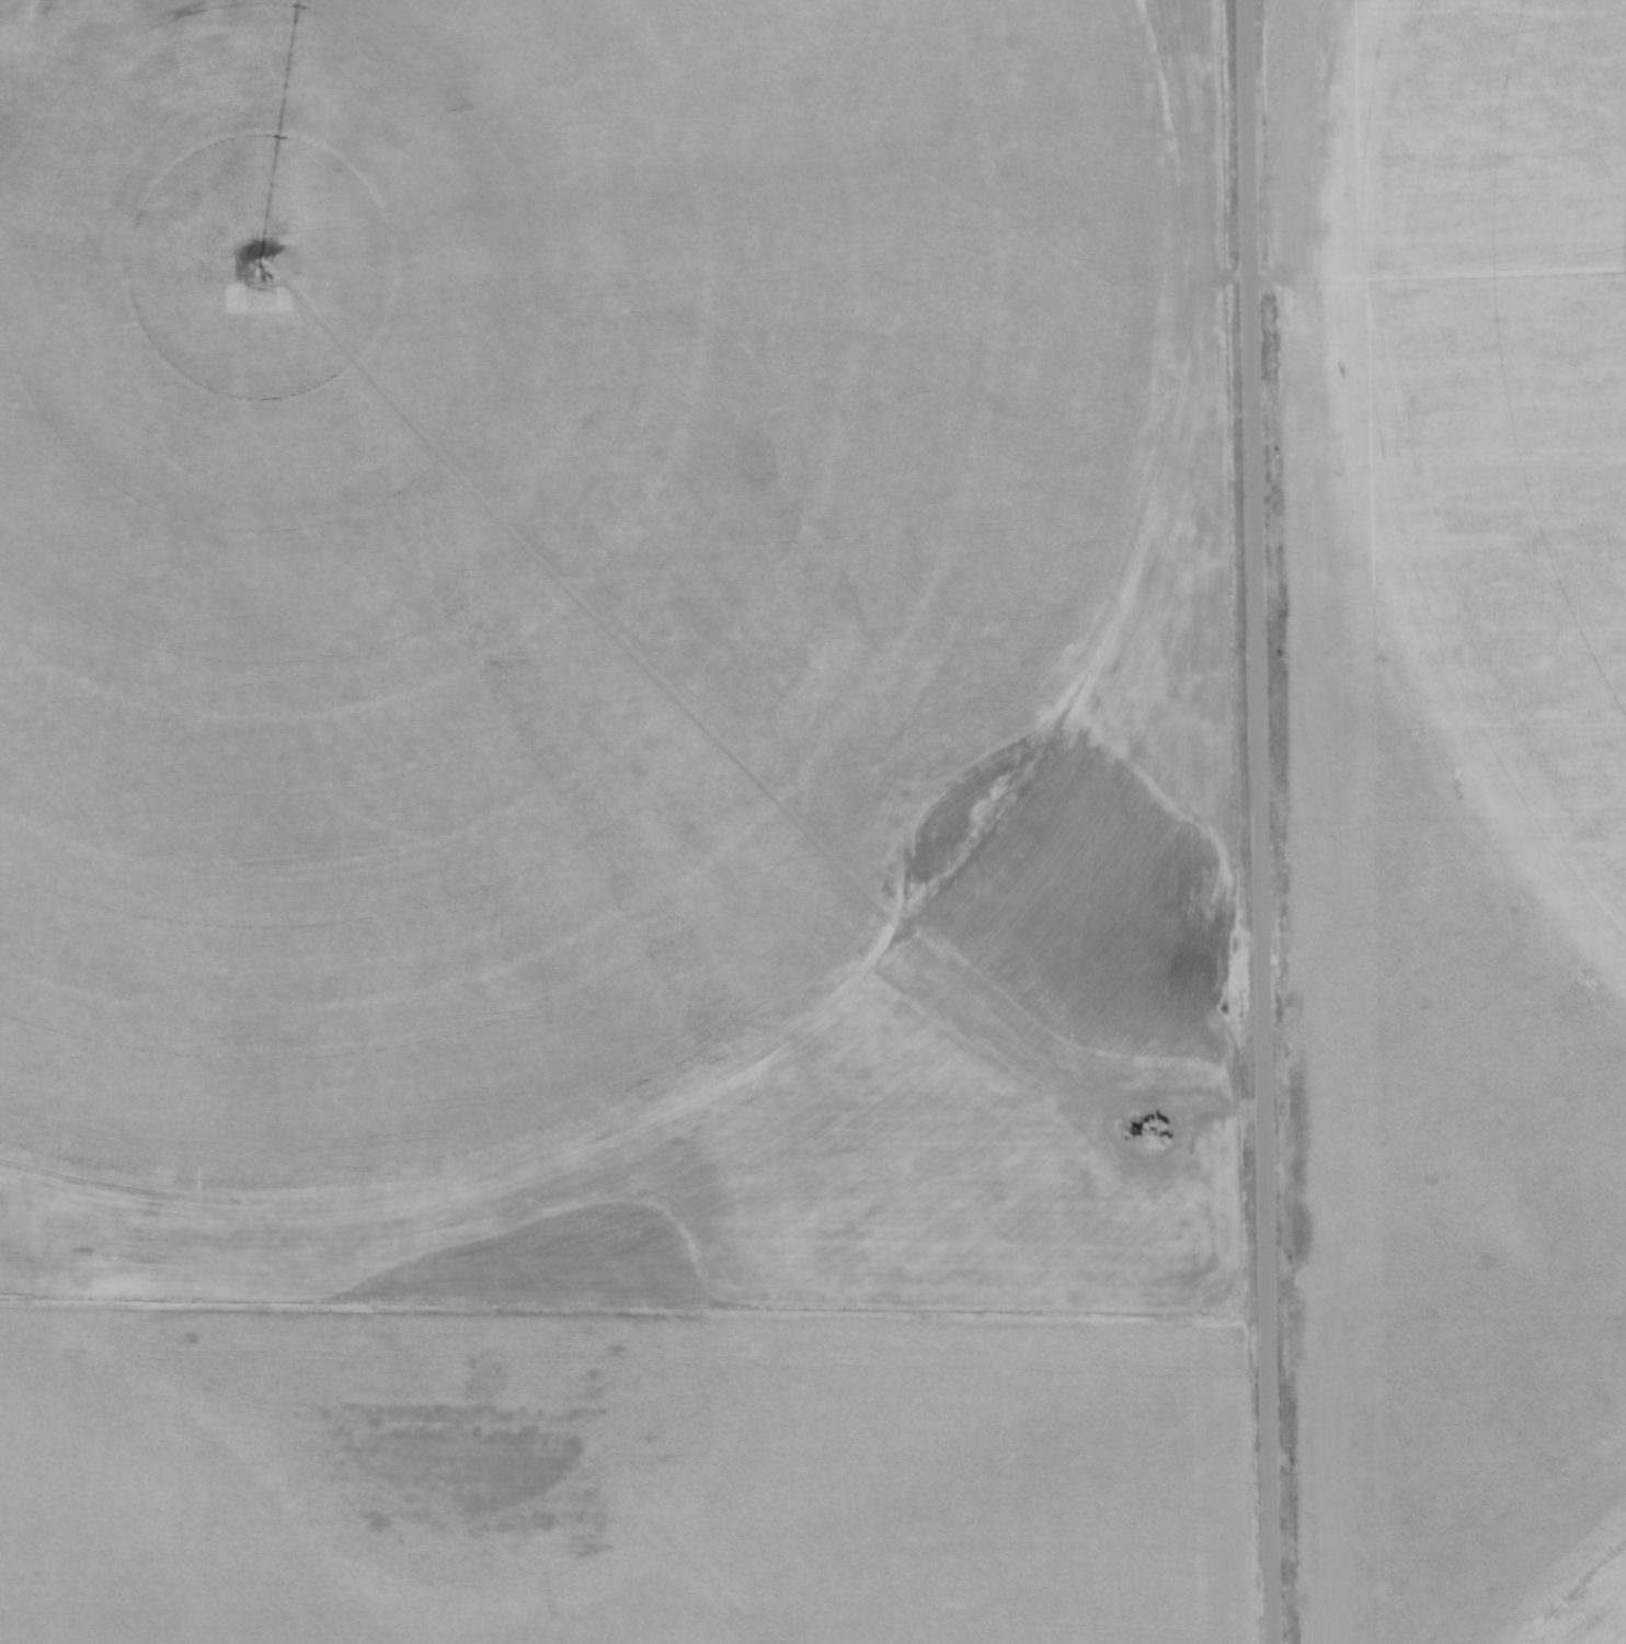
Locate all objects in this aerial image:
crop: (1453, 813)
road: (1257, 821)
crop: (612, 823)

